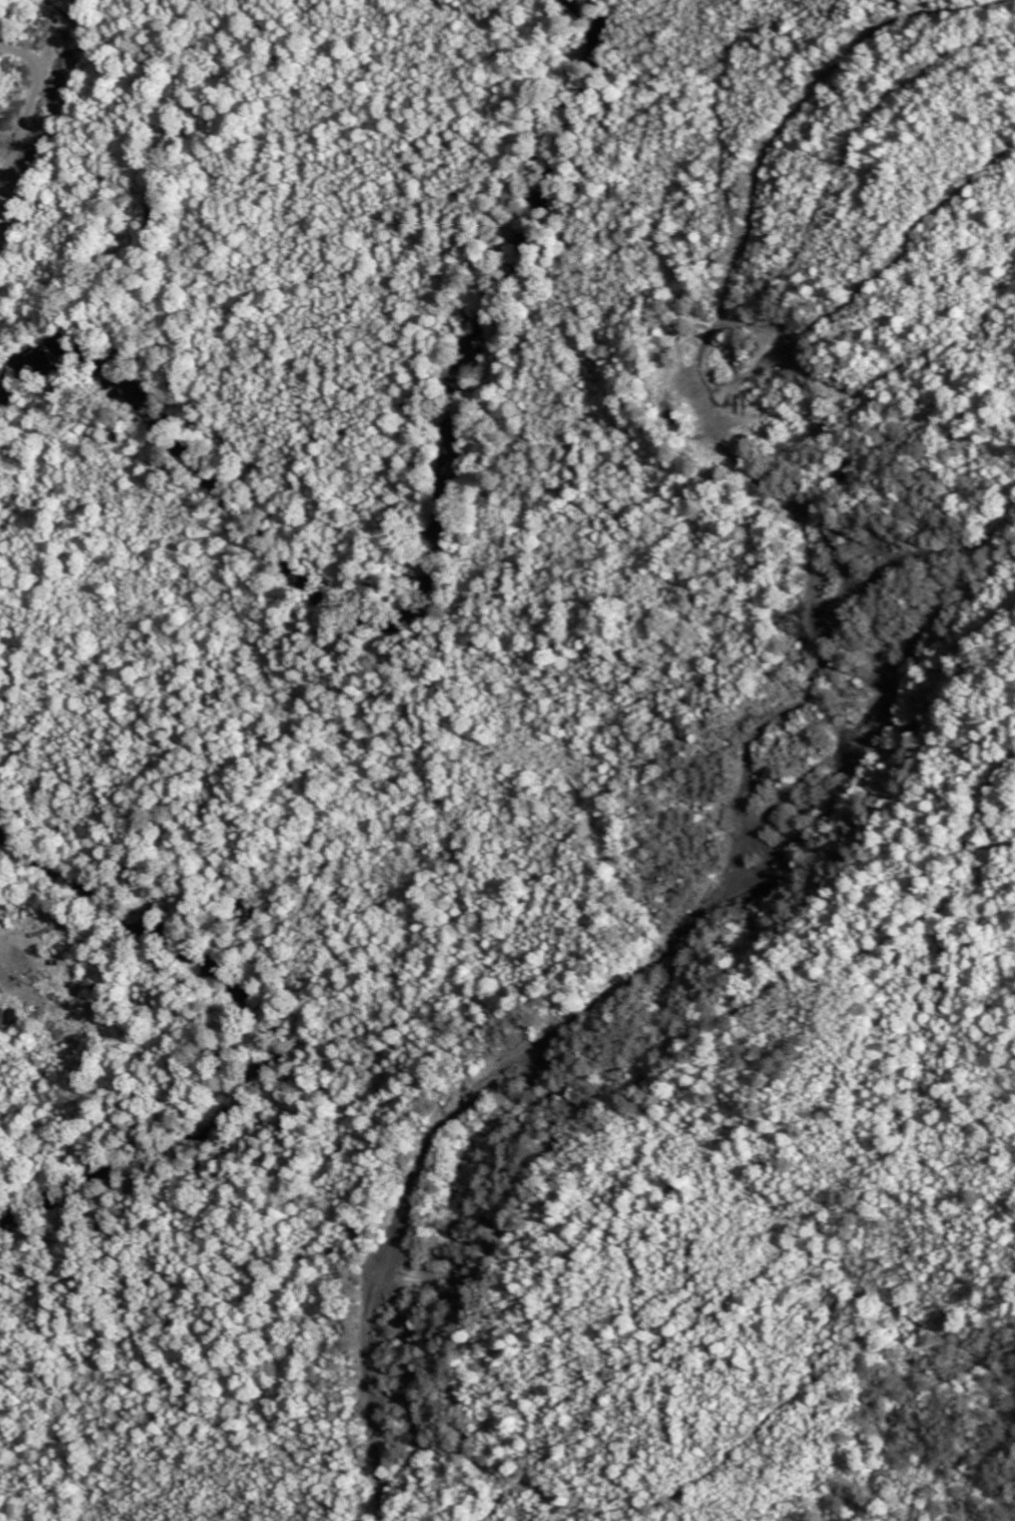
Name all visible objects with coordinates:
river: (417, 530)
building: (9, 1018)
river: (247, 1030)

